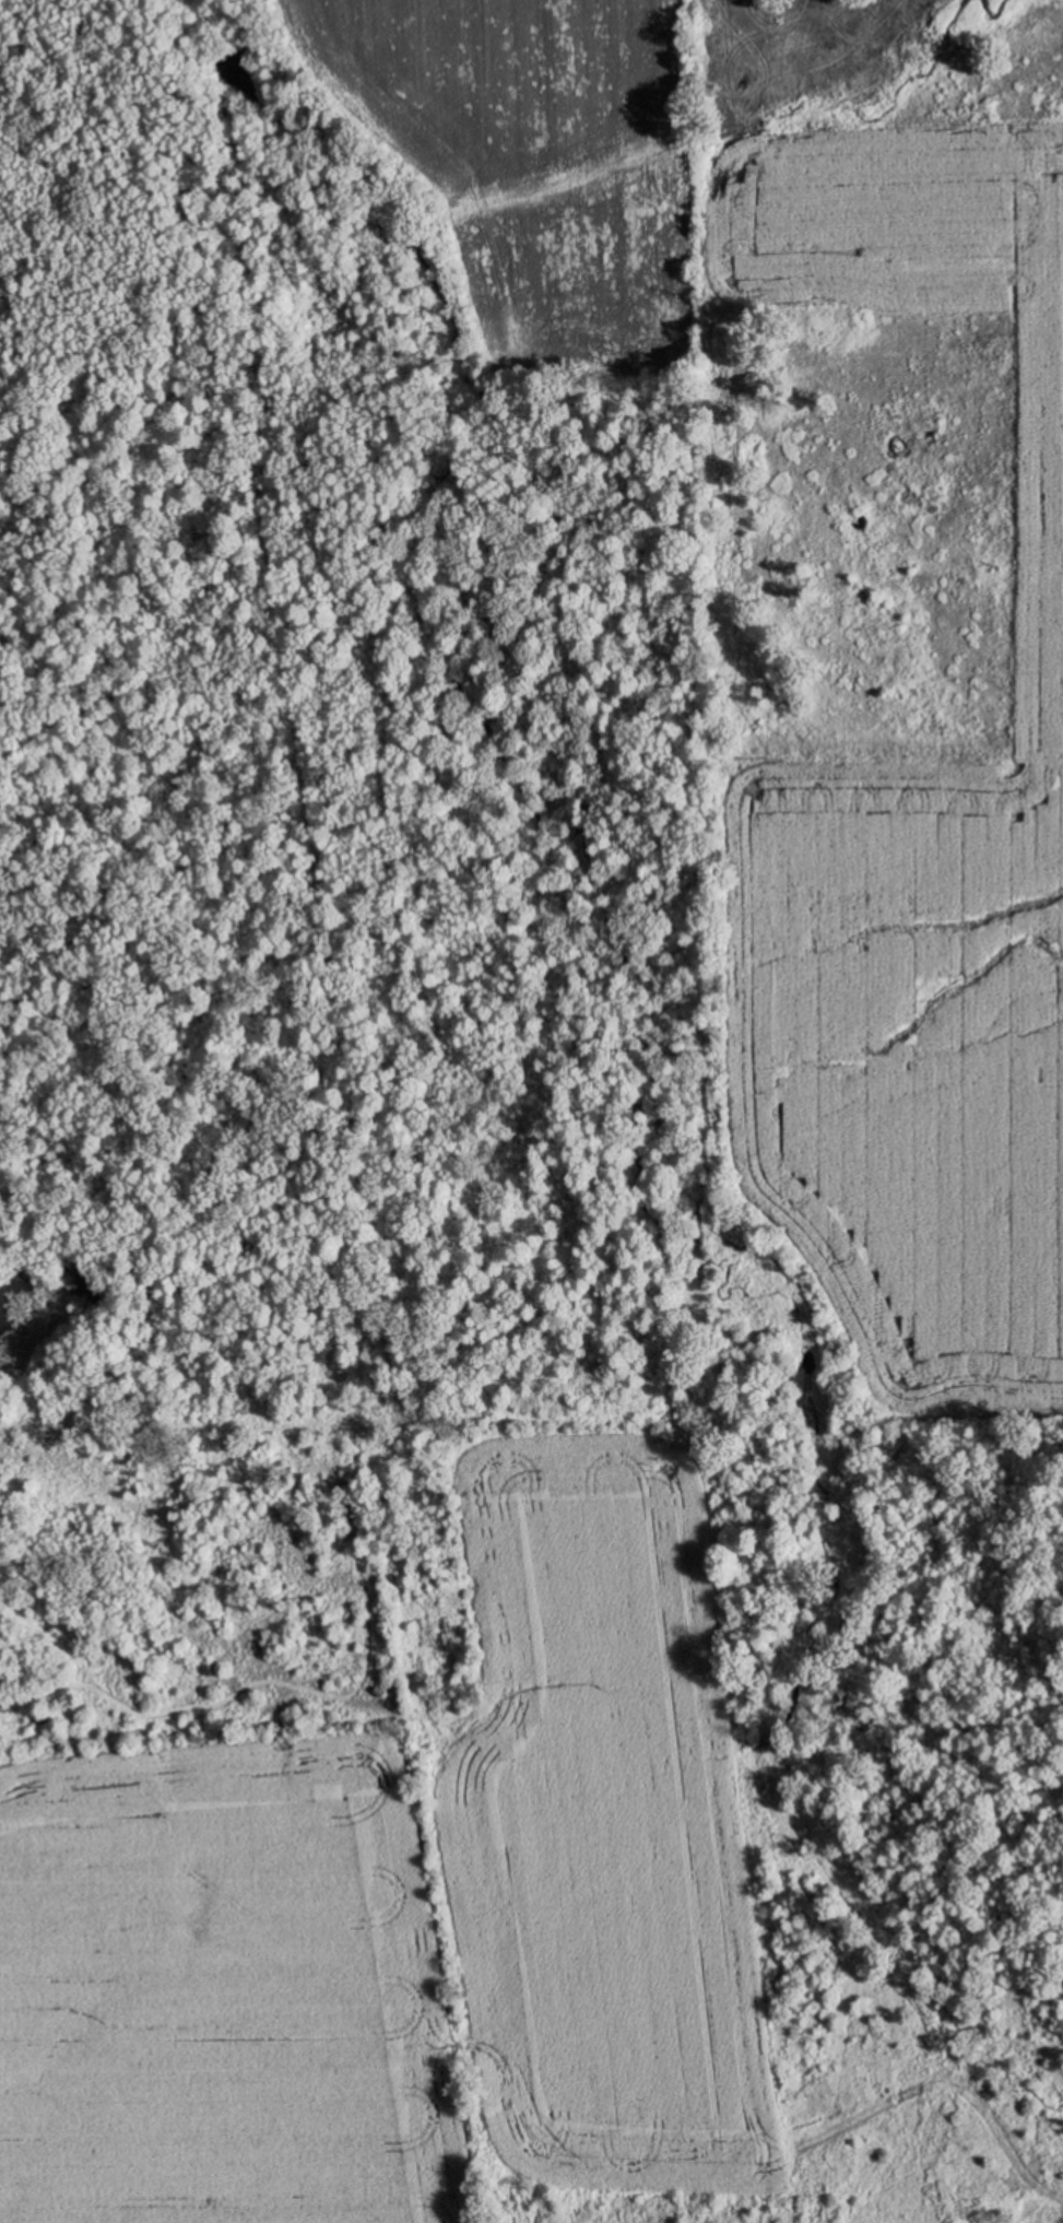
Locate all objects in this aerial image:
building: (38, 1721)

